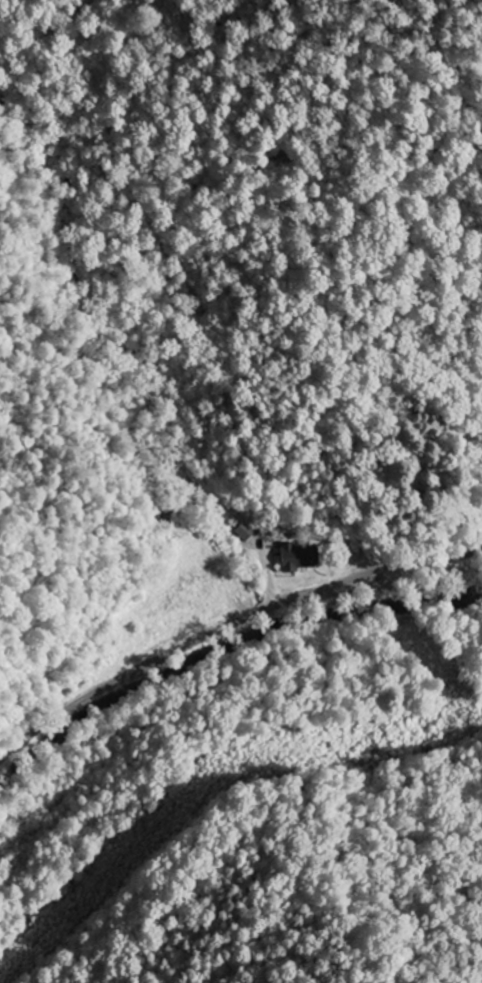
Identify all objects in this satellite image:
building: (293, 557)
road: (227, 624)

